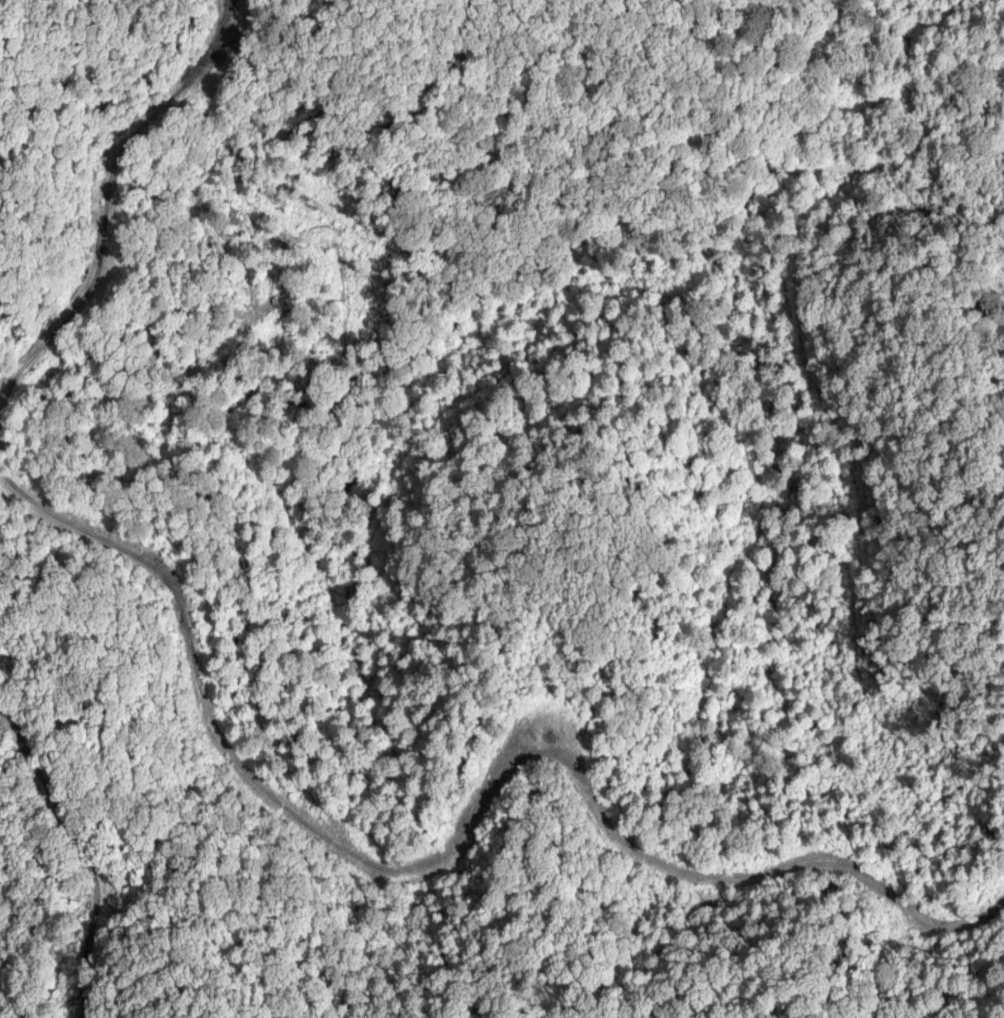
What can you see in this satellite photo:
road: (54, 799)
road: (78, 959)

